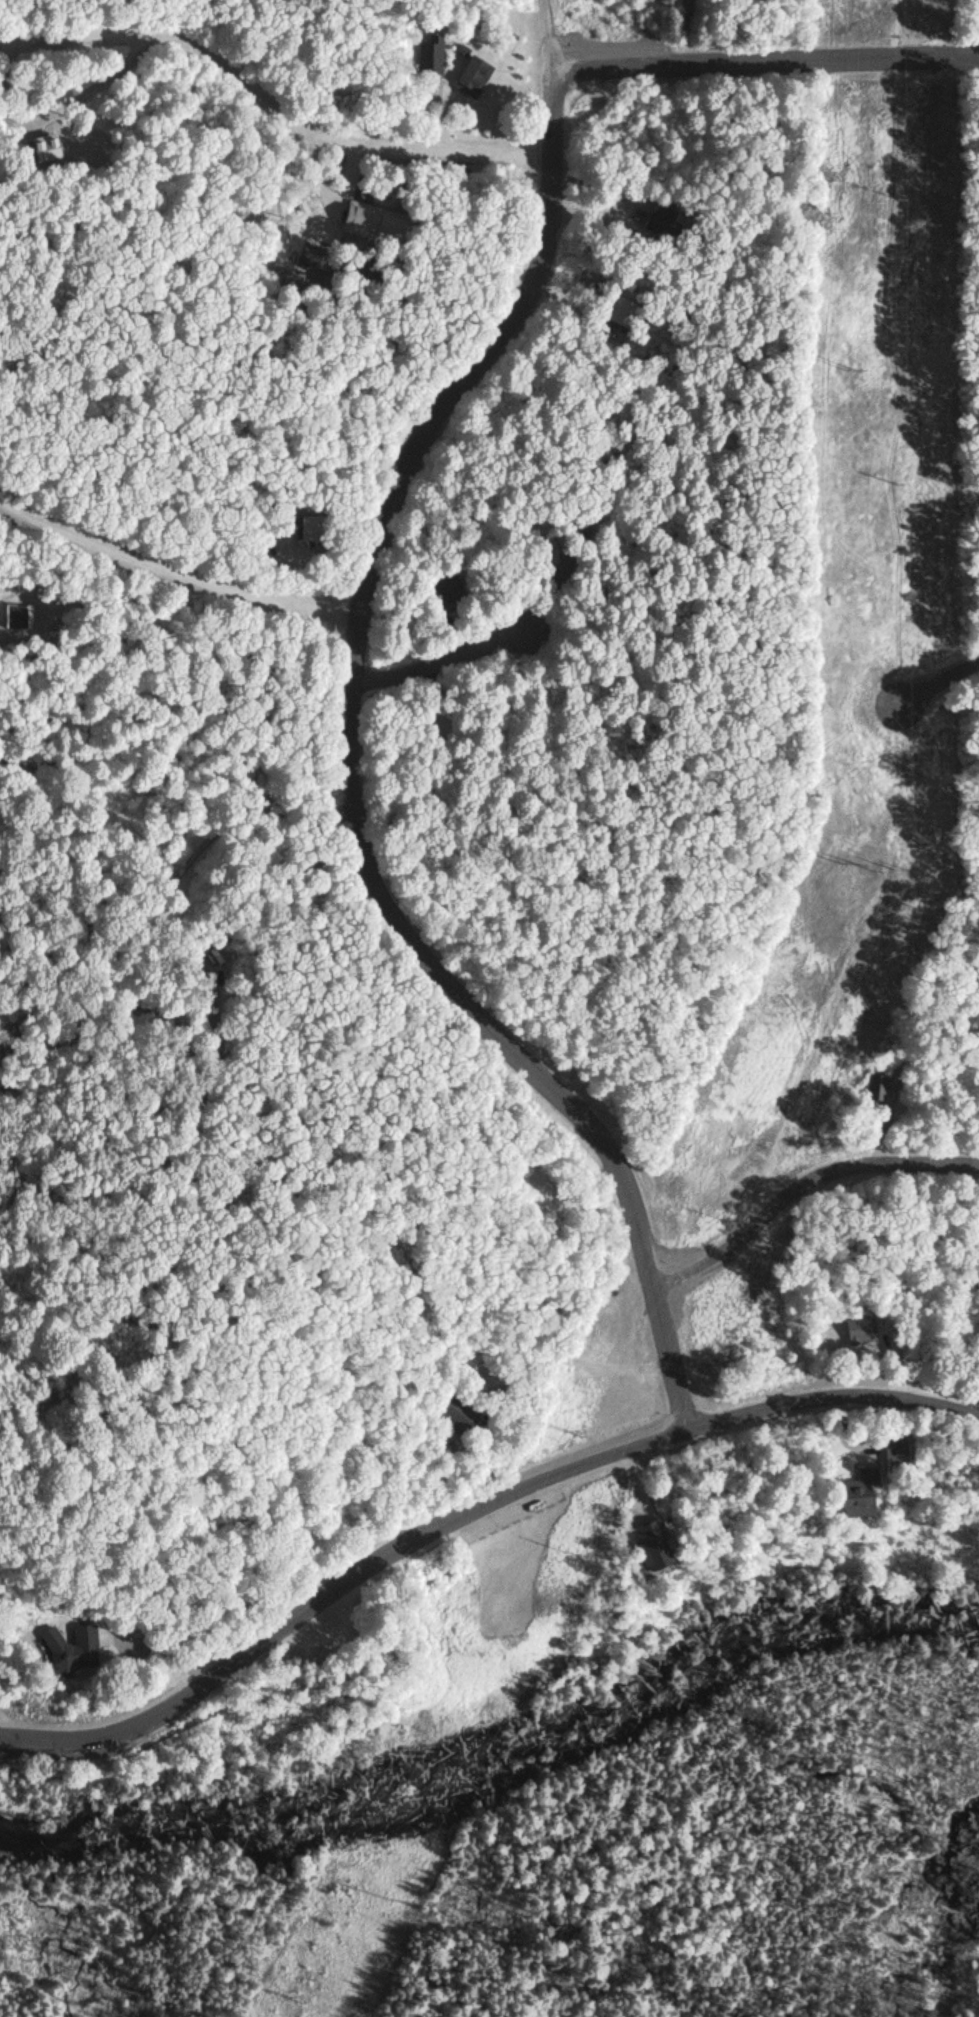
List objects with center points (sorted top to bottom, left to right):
road: (553, 37)
road: (768, 55)
building: (471, 77)
road: (265, 118)
building: (659, 224)
power tower: (856, 370)
building: (309, 530)
road: (173, 569)
road: (441, 655)
road: (937, 681)
road: (354, 775)
power tower: (863, 862)
building: (879, 1087)
road: (804, 1183)
building: (447, 1414)
power tower: (579, 1429)
building: (891, 1450)
building: (850, 1492)
road: (467, 1509)
building: (65, 1647)
river: (500, 1752)
power tower: (297, 1993)

